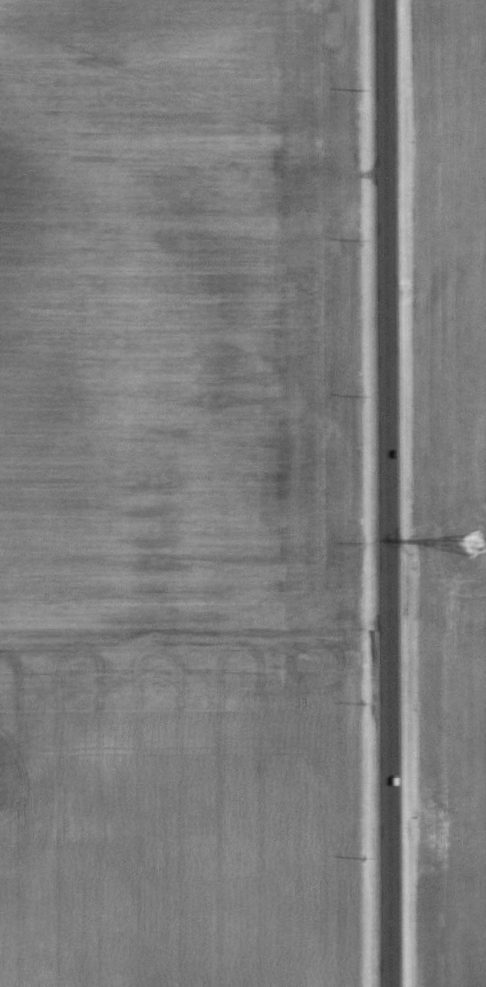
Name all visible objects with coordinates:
road: (386, 493)
power tower: (471, 548)

